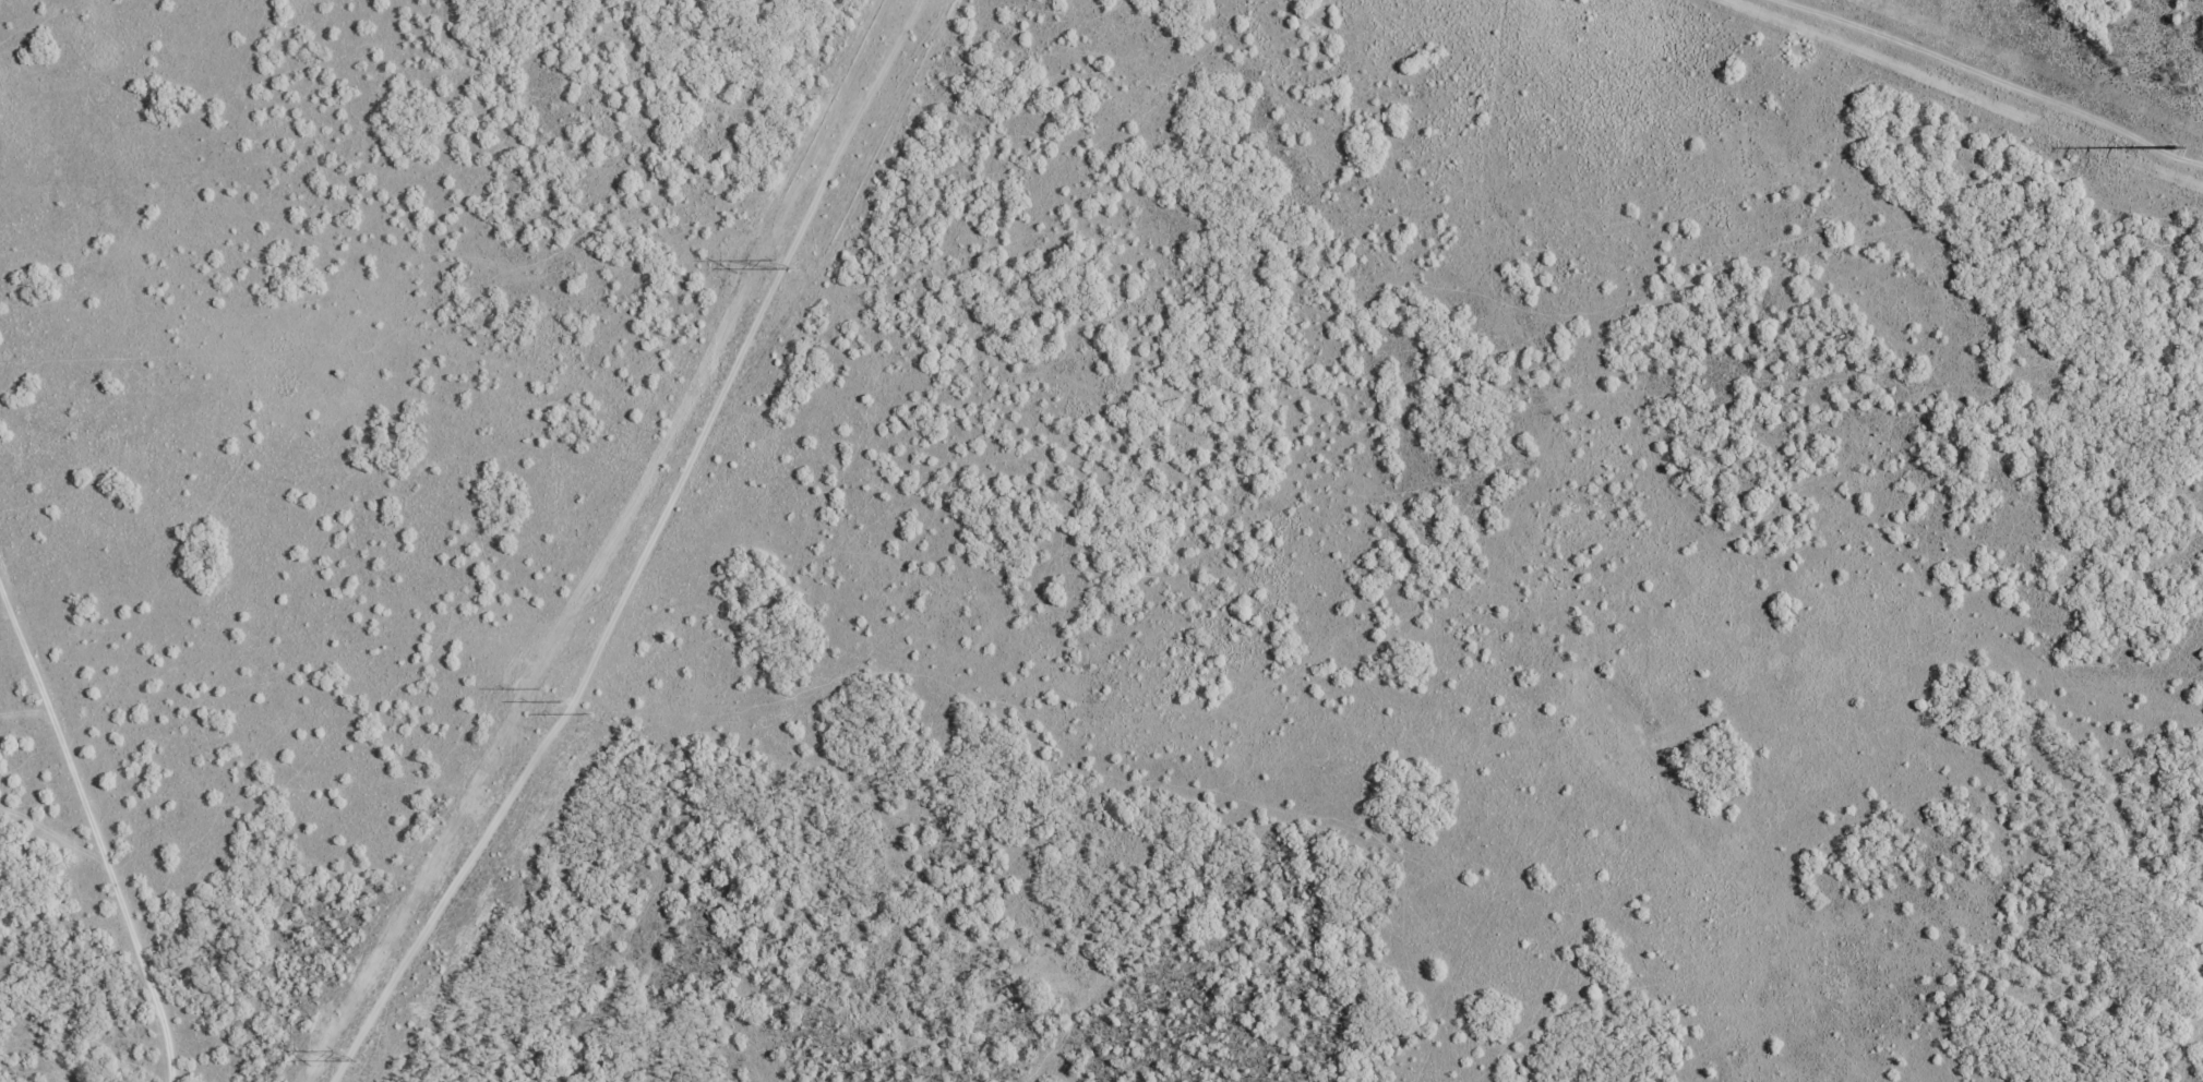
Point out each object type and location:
power tower: (2183, 154)

